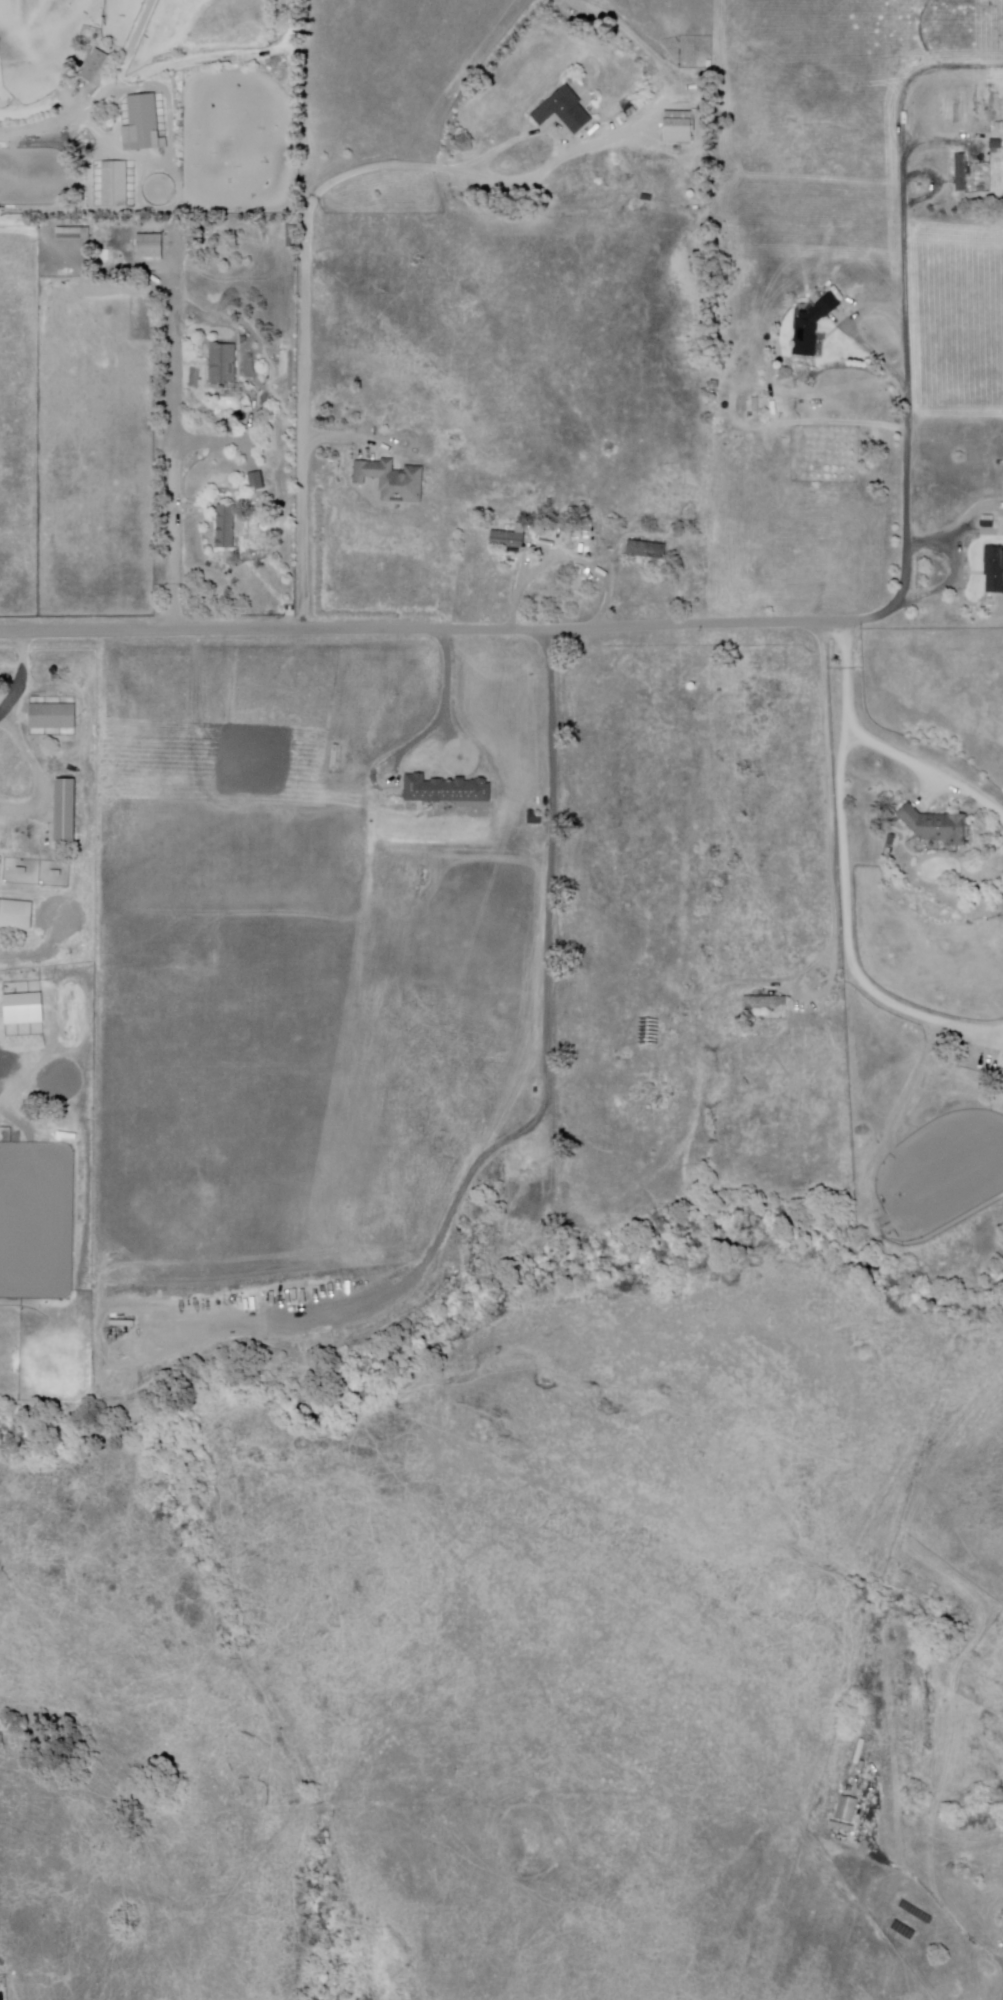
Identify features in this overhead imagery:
storage tank: (277, 0)
storage tank: (278, 14)
building: (96, 68)
road: (100, 96)
building: (974, 107)
building: (564, 111)
building: (143, 123)
building: (973, 124)
building: (680, 127)
building: (999, 127)
building: (996, 145)
road: (555, 165)
building: (961, 174)
building: (115, 185)
storage tank: (691, 195)
building: (72, 235)
building: (149, 247)
road: (905, 266)
road: (306, 294)
building: (812, 326)
building: (891, 335)
building: (243, 340)
building: (220, 361)
road: (173, 363)
storage tank: (713, 397)
storage tank: (331, 420)
road: (909, 421)
road: (334, 440)
building: (392, 480)
building: (256, 481)
road: (174, 504)
building: (988, 521)
building: (225, 526)
building: (1002, 528)
building: (508, 539)
building: (610, 540)
building: (583, 542)
building: (647, 550)
building: (285, 557)
road: (561, 563)
building: (994, 569)
road: (963, 572)
road: (431, 631)
road: (18, 674)
road: (847, 675)
storage tank: (691, 687)
road: (442, 716)
building: (51, 717)
road: (928, 768)
building: (446, 790)
building: (65, 812)
storage tank: (538, 814)
building: (533, 819)
building: (936, 826)
building: (921, 848)
building: (20, 871)
building: (55, 874)
building: (995, 889)
building: (15, 915)
road: (848, 933)
building: (24, 991)
building: (765, 1002)
building: (989, 1068)
building: (1002, 1077)
building: (847, 1810)

